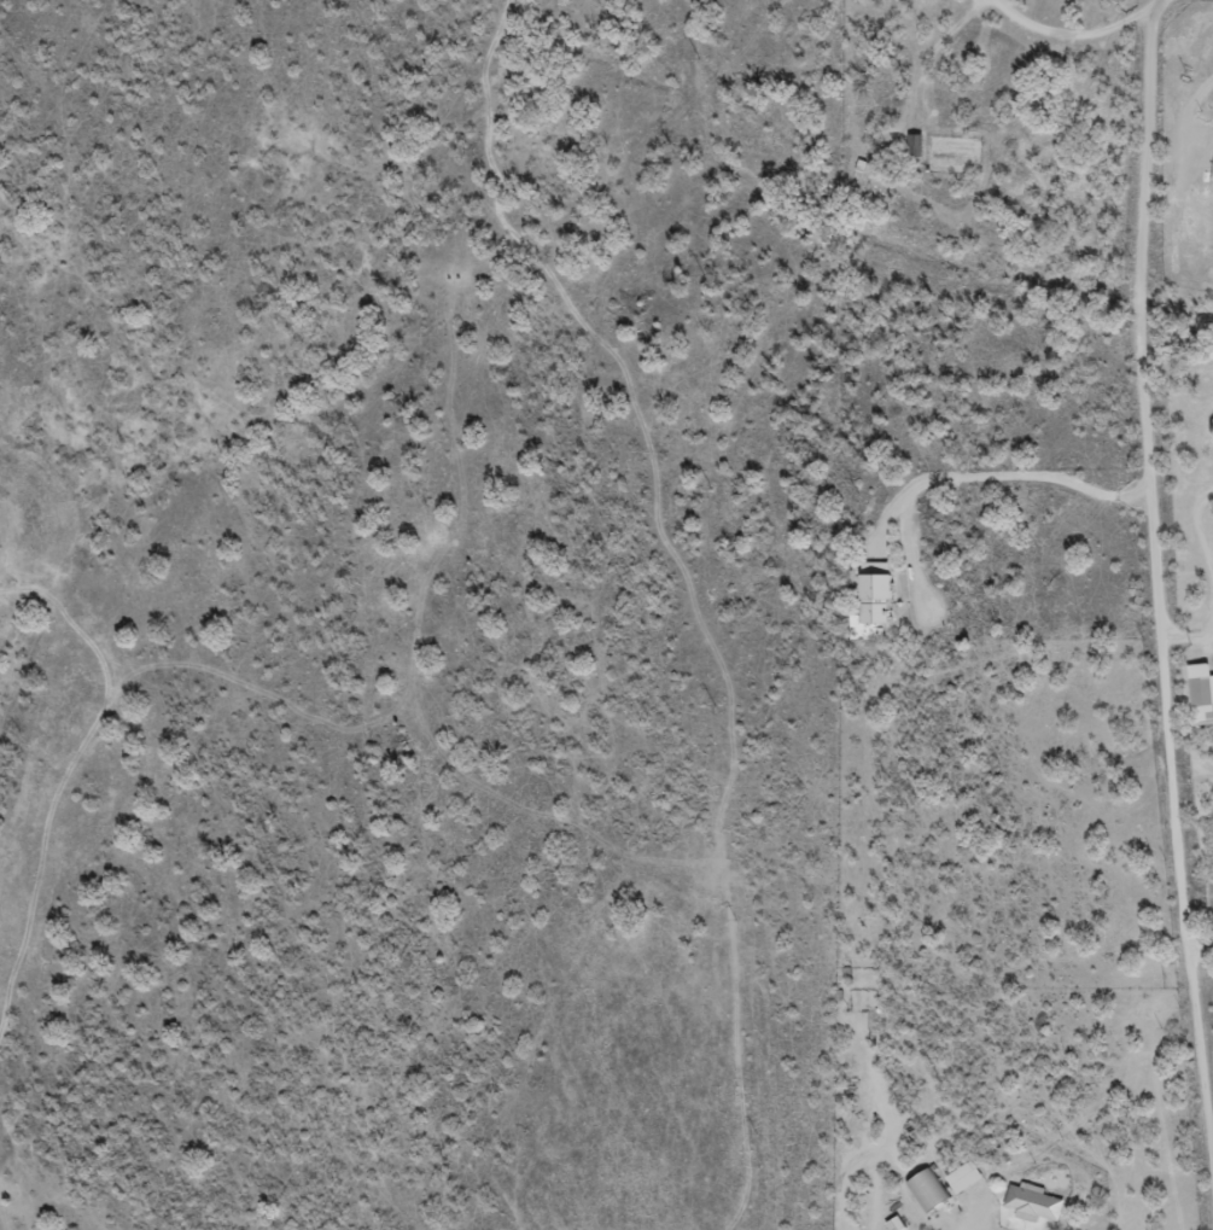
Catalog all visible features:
building: (1212, 181)
road: (1096, 455)
building: (877, 594)
building: (1201, 695)
building: (964, 1179)
building: (928, 1193)
building: (1034, 1206)
building: (896, 1225)

